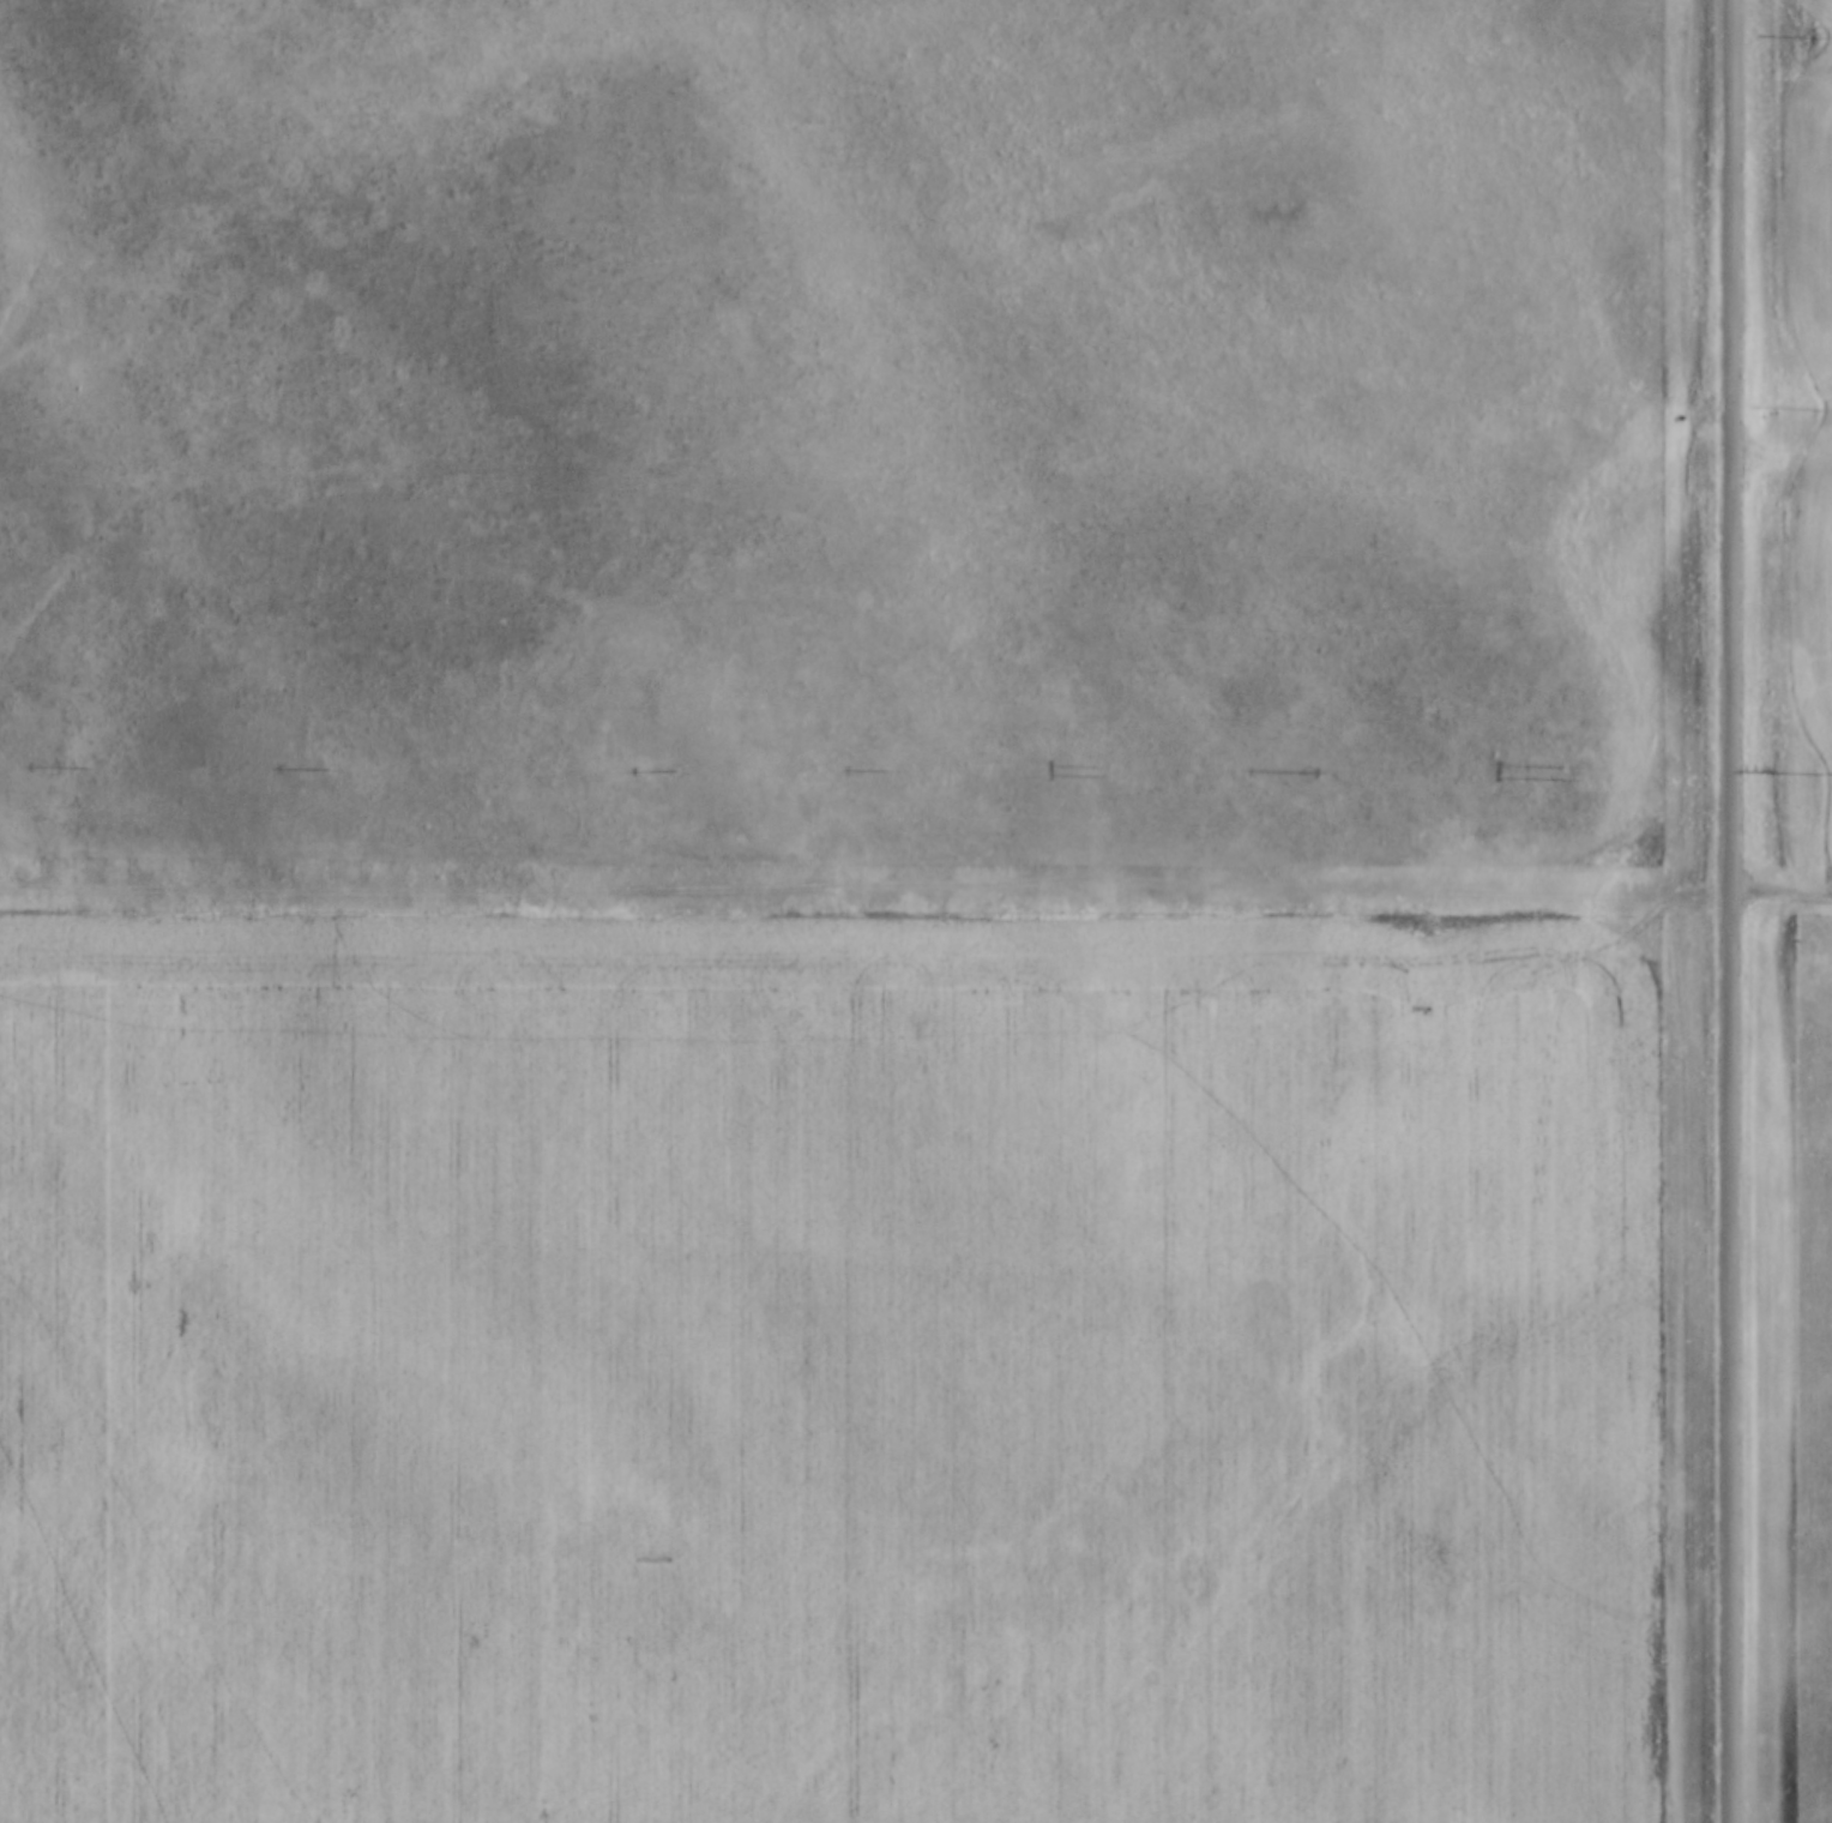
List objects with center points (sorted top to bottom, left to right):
road: (916, 878)
road: (1732, 911)

